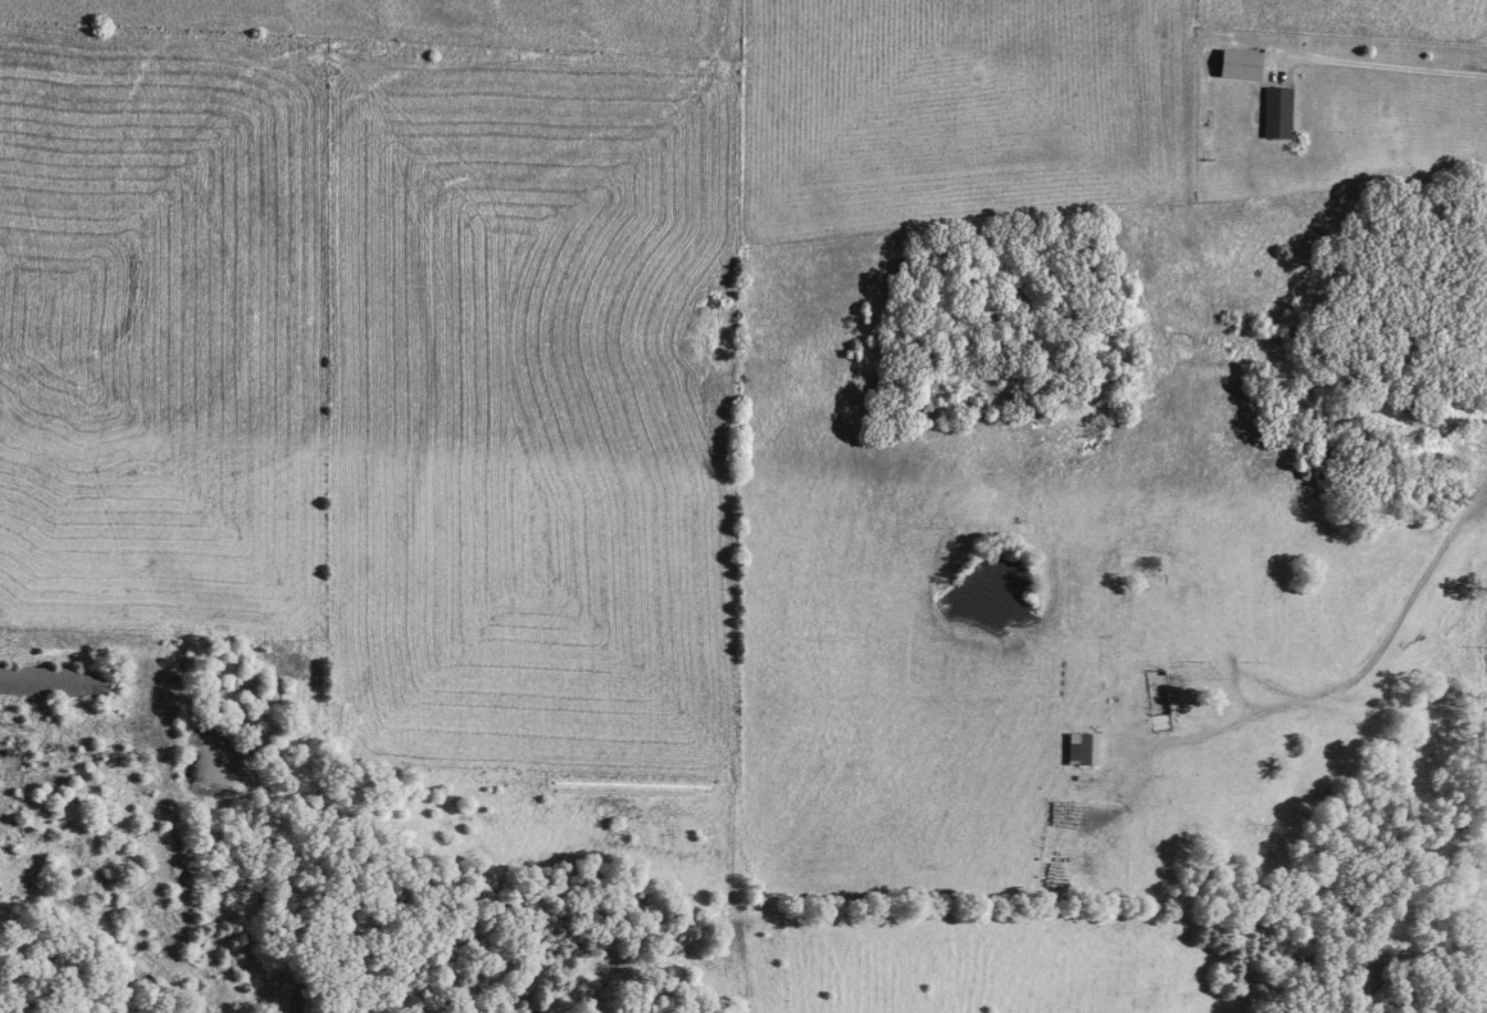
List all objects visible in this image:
road: (1388, 68)
building: (1273, 114)
building: (1139, 566)
road: (1351, 673)
building: (52, 682)
building: (1155, 701)
building: (1081, 750)
building: (1146, 774)
building: (1370, 971)

